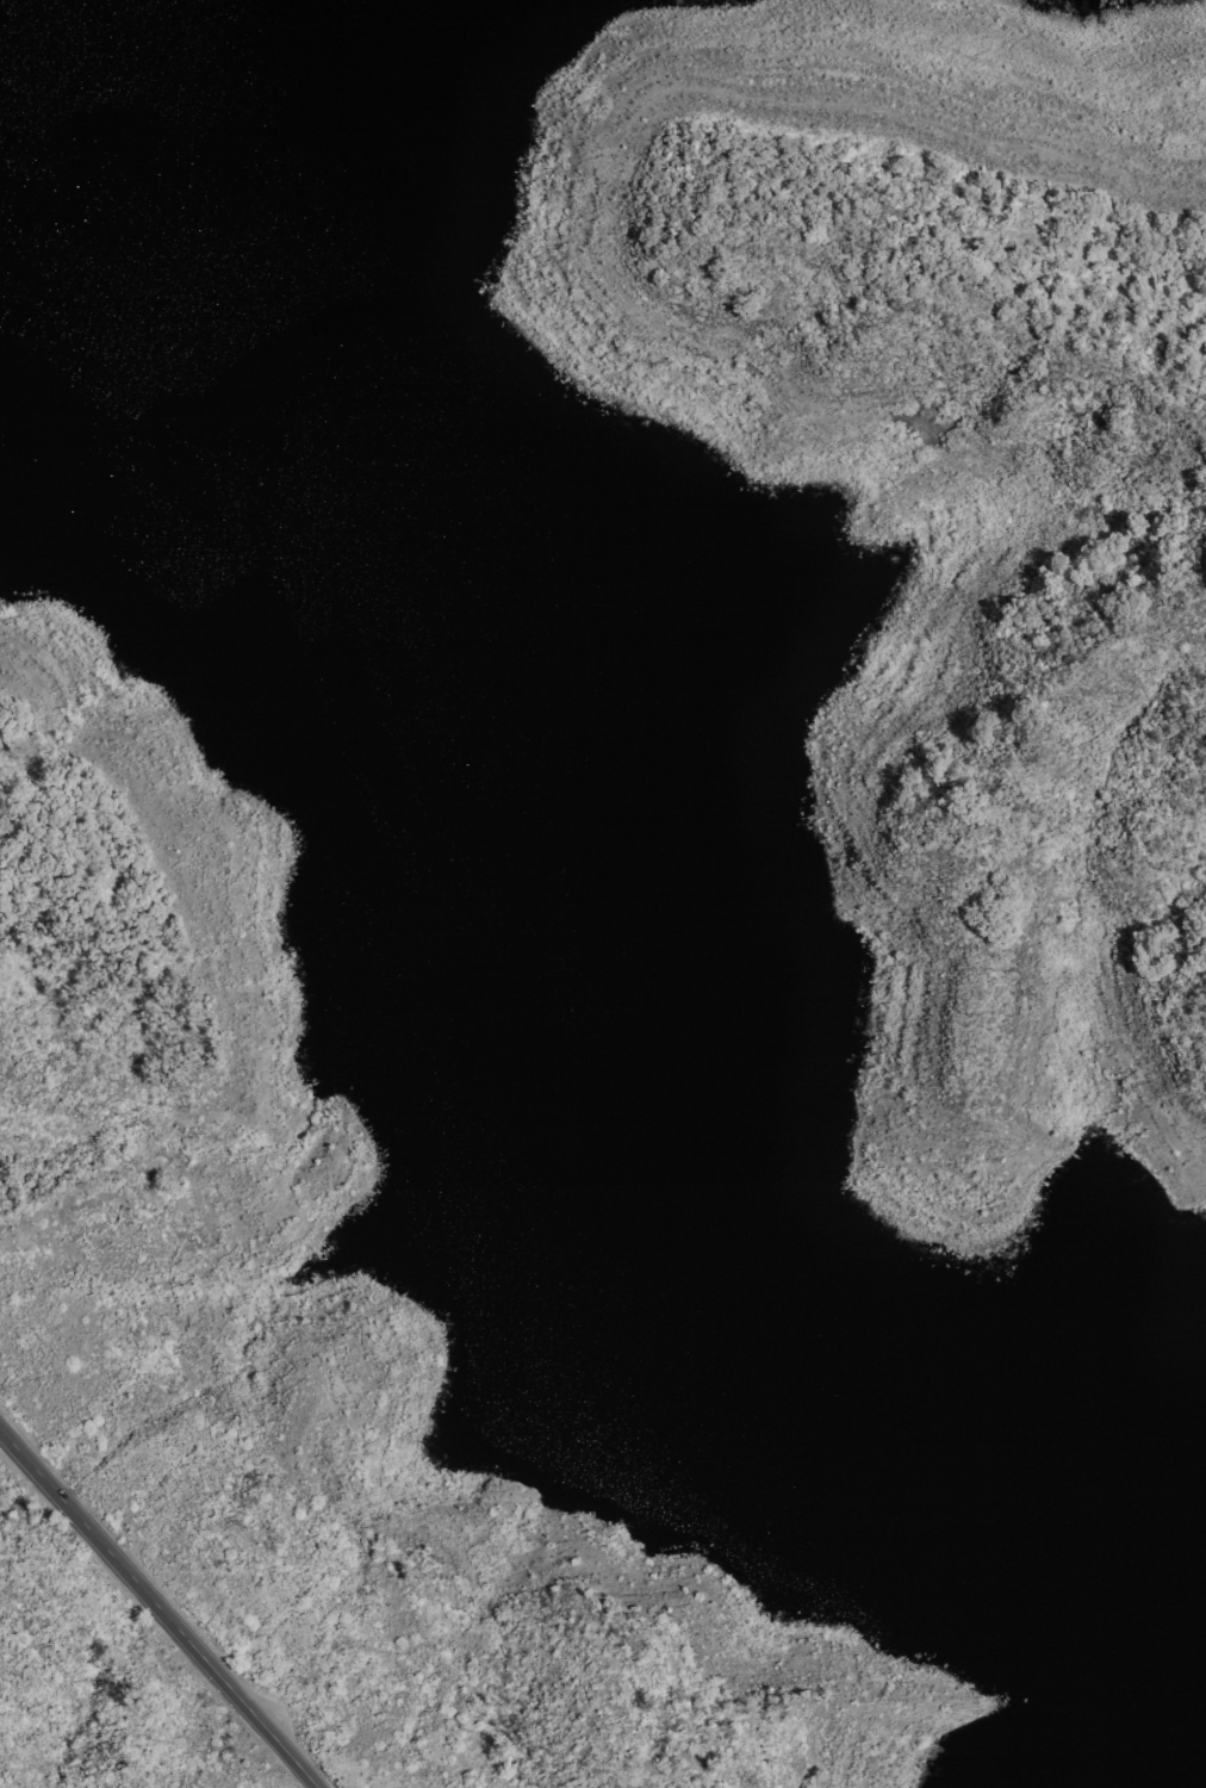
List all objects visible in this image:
road: (160, 1604)

